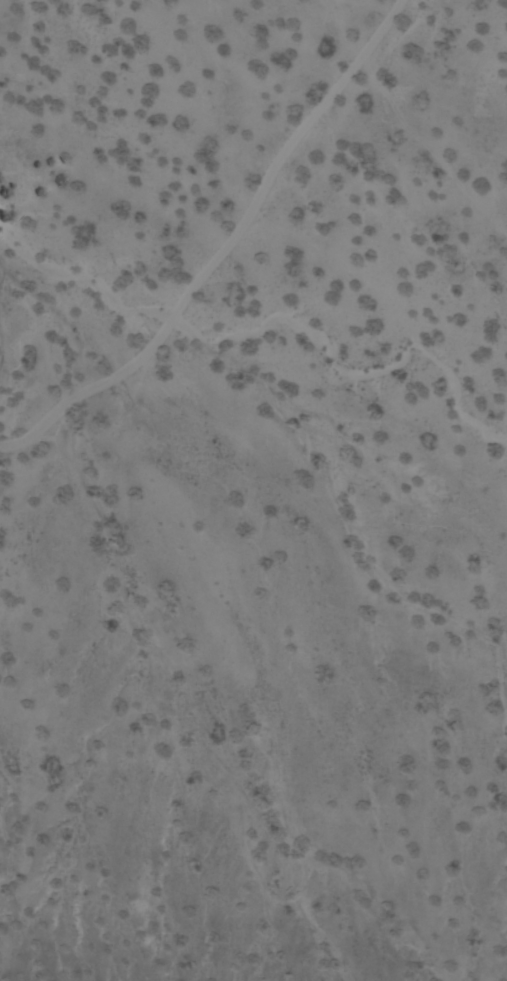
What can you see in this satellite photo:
road: (242, 270)

